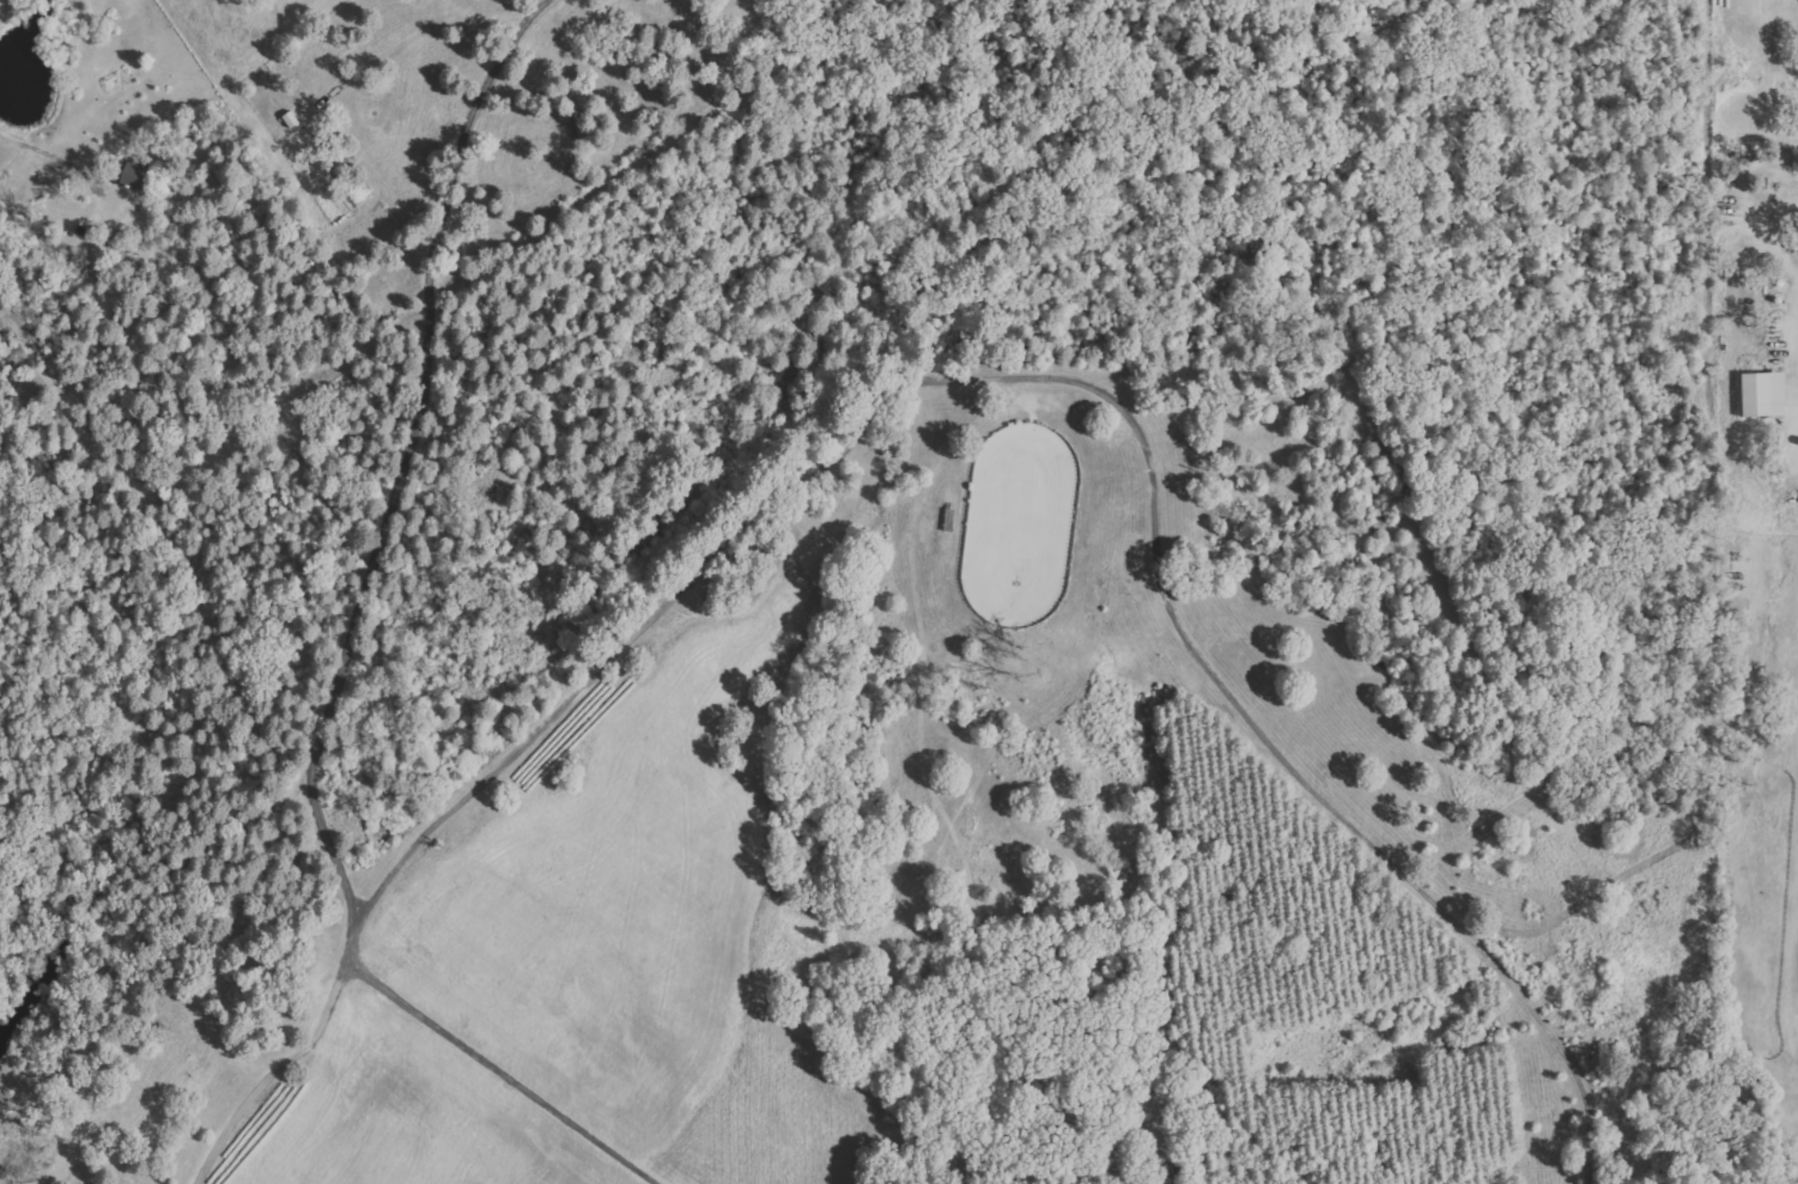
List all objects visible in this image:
building: (134, 175)
building: (1766, 394)

